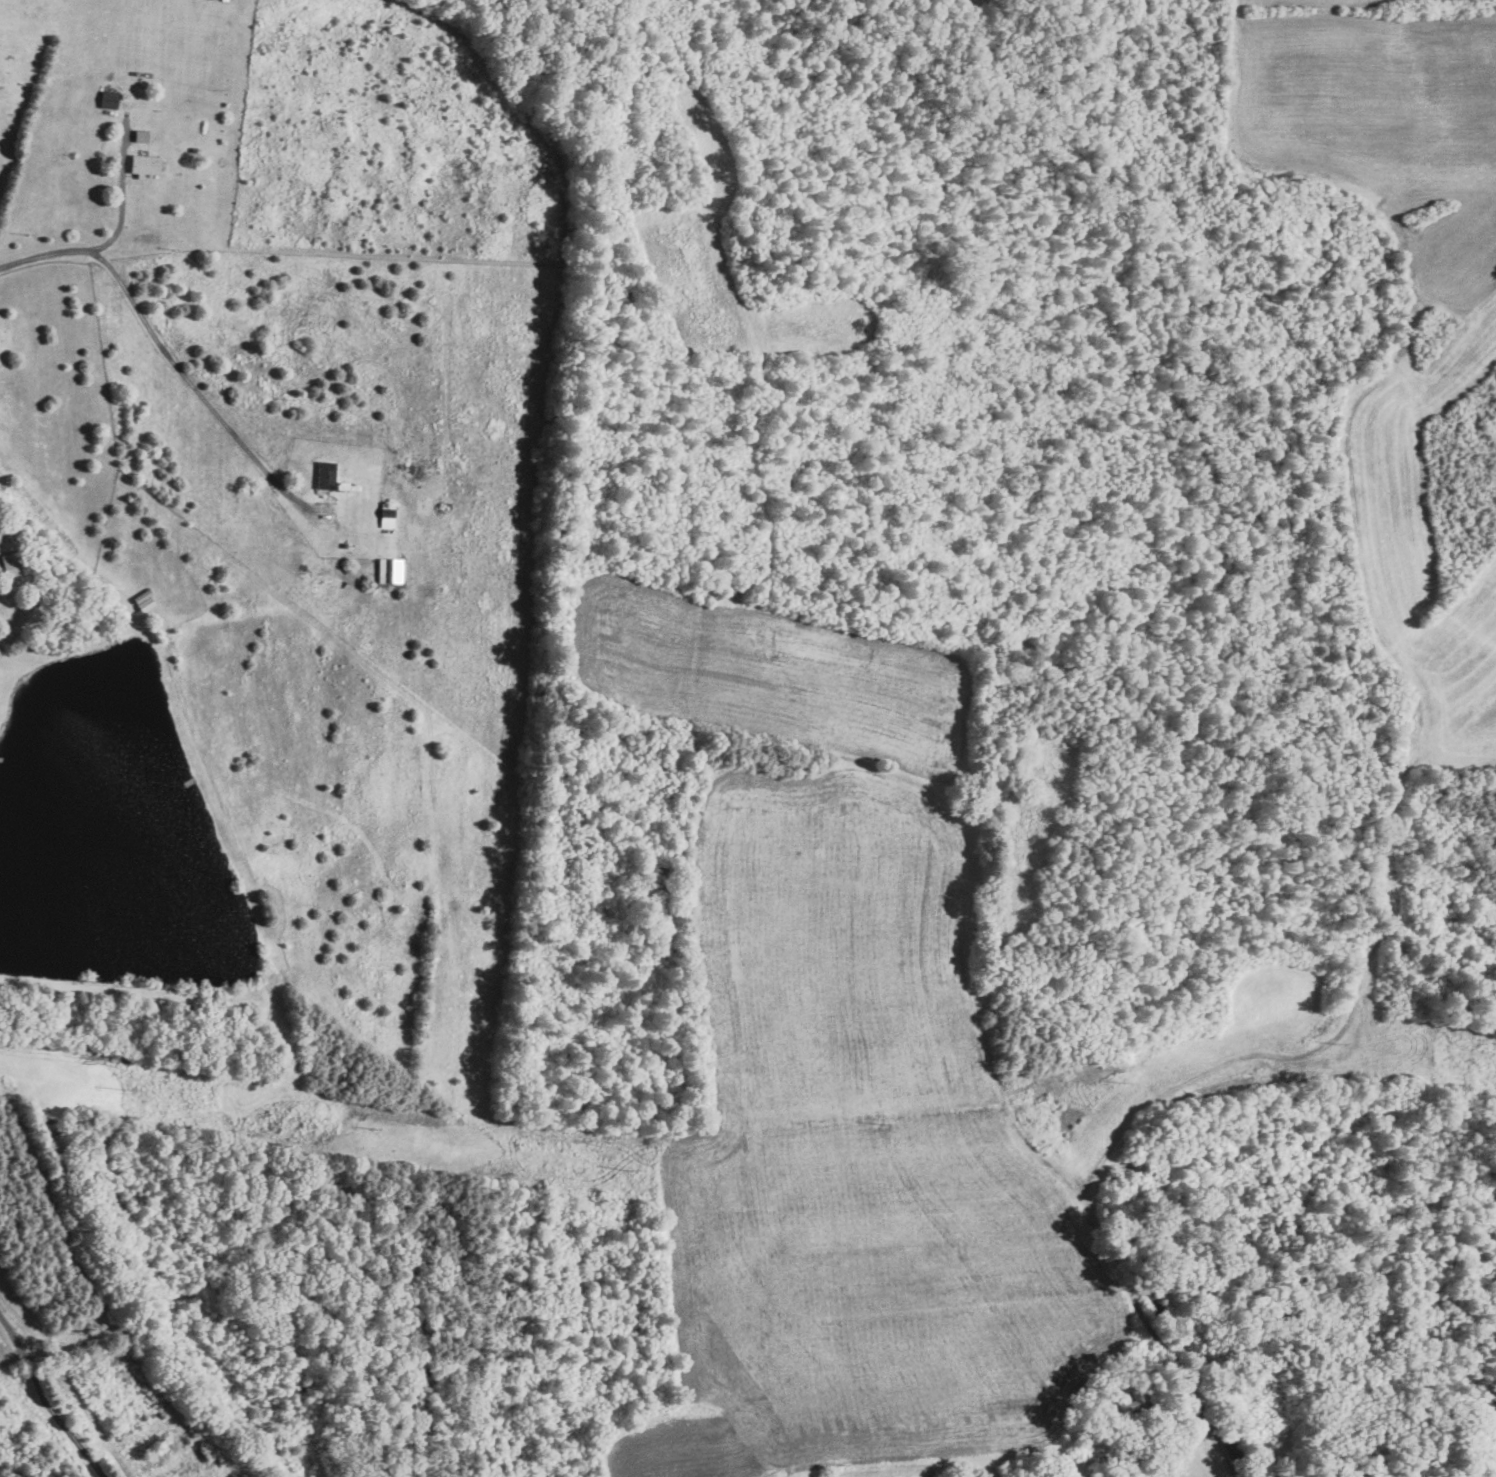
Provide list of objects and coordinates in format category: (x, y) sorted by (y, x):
building: (107, 99)
building: (143, 164)
road: (122, 209)
road: (51, 258)
road: (193, 385)
building: (324, 474)
building: (386, 519)
building: (9, 563)
building: (389, 569)
road: (13, 1328)
road: (13, 1356)
road: (58, 1417)
road: (1211, 1440)

